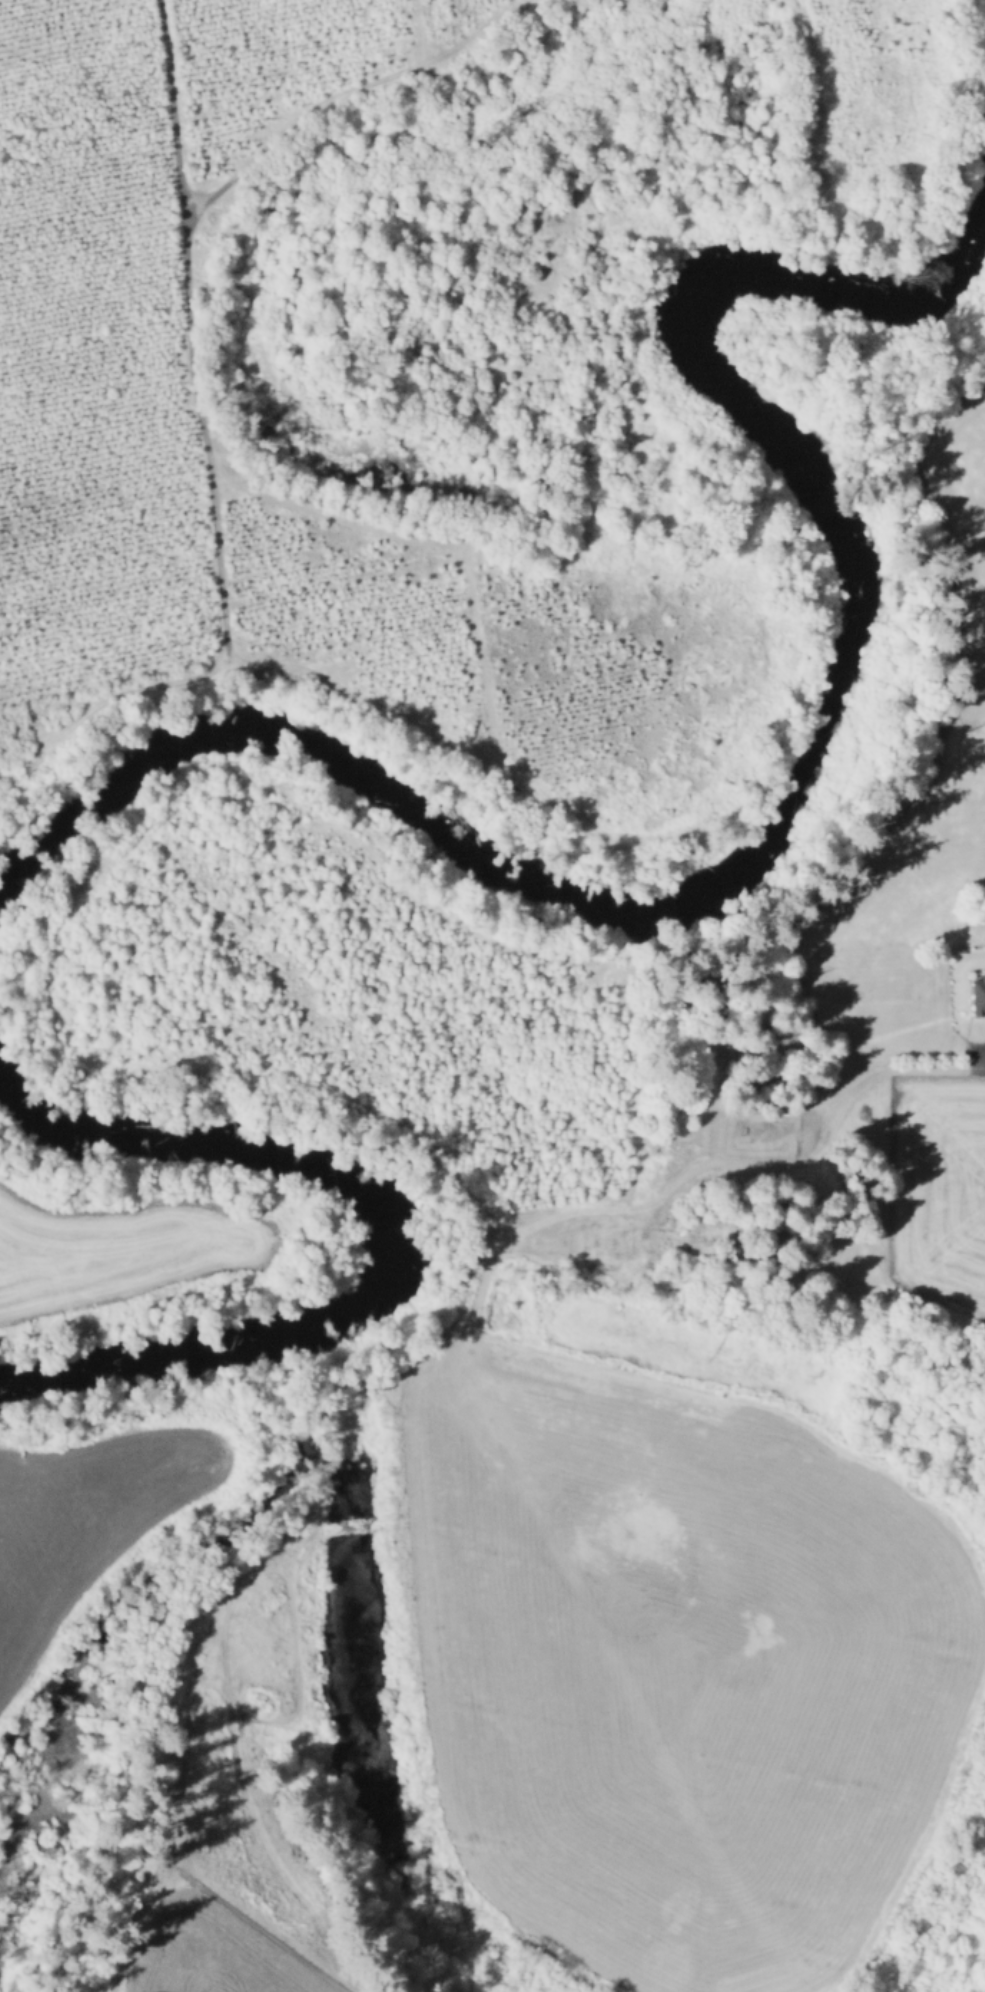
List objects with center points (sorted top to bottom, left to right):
road: (356, 104)
road: (170, 334)
river: (800, 794)
building: (979, 992)
river: (394, 1241)
crop: (115, 1250)
crop: (83, 1522)

